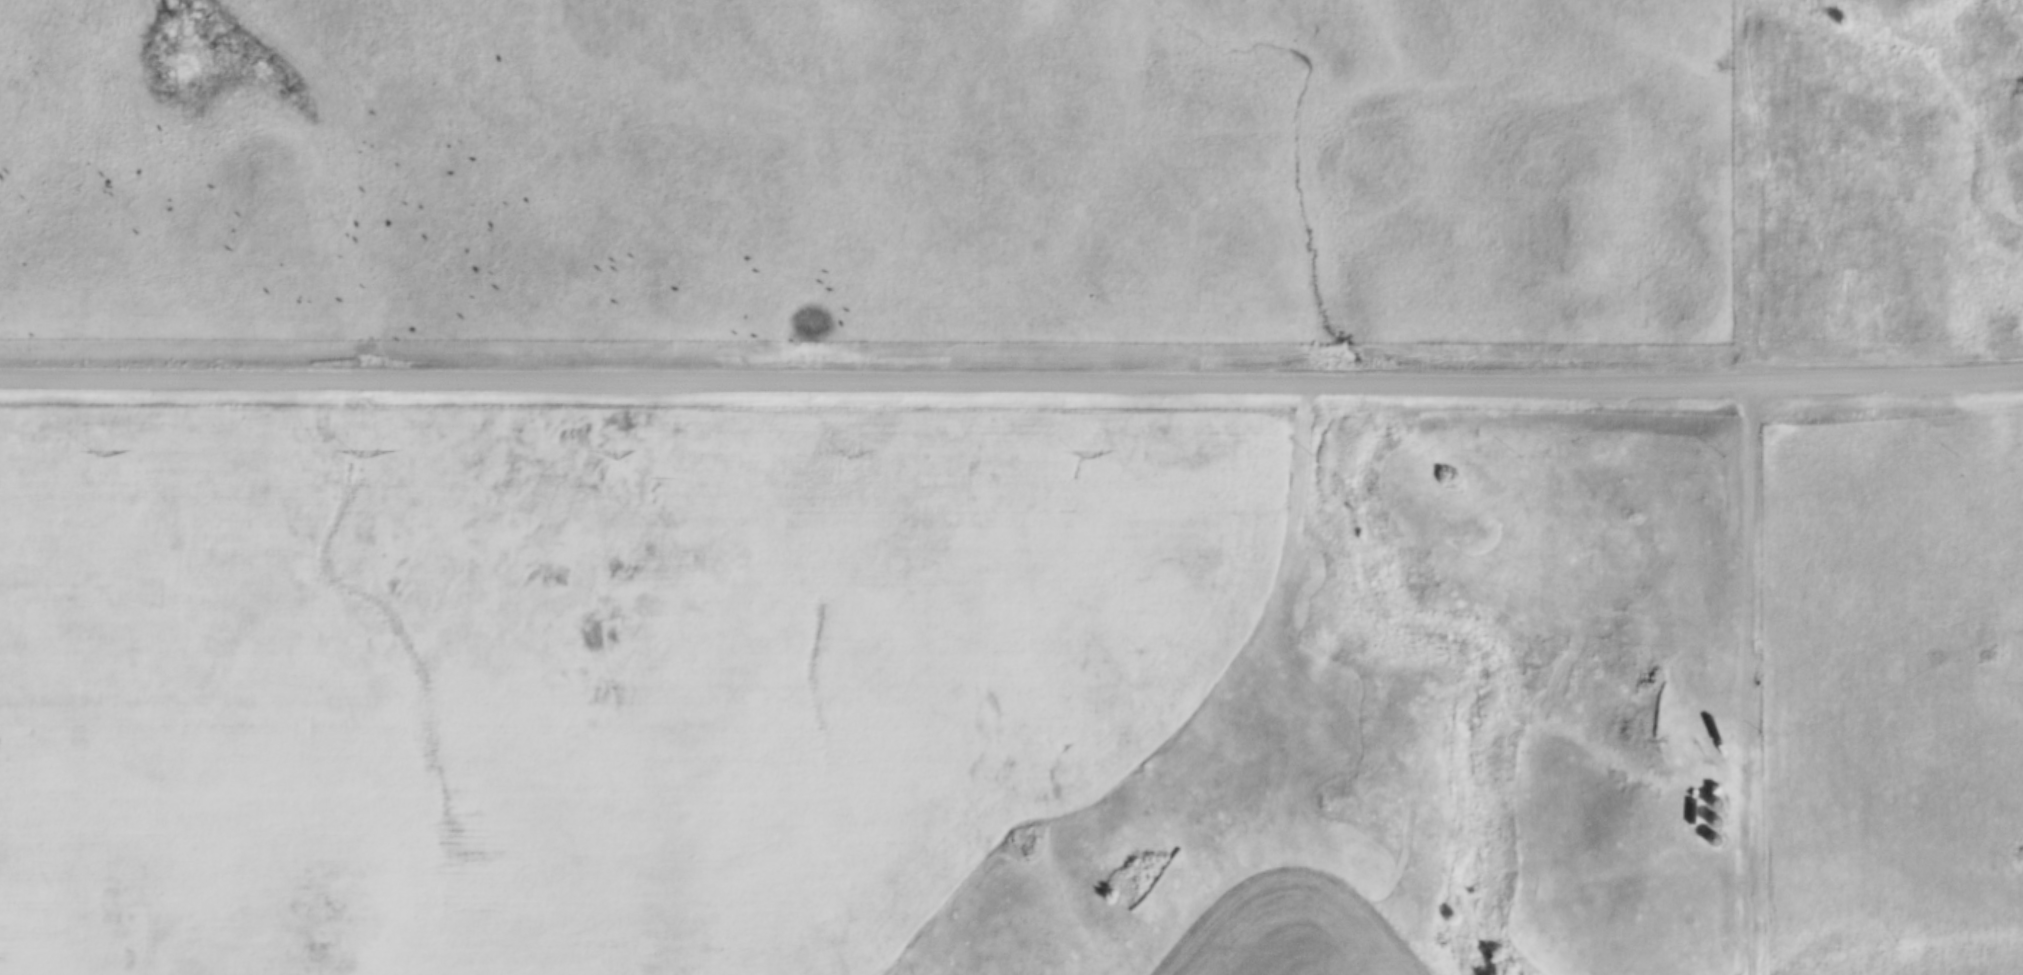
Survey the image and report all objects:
road: (1011, 386)
road: (1755, 682)
building: (1713, 802)
silo: (1713, 802)
building: (1713, 821)
silo: (1713, 821)
building: (1713, 839)
silo: (1713, 839)

